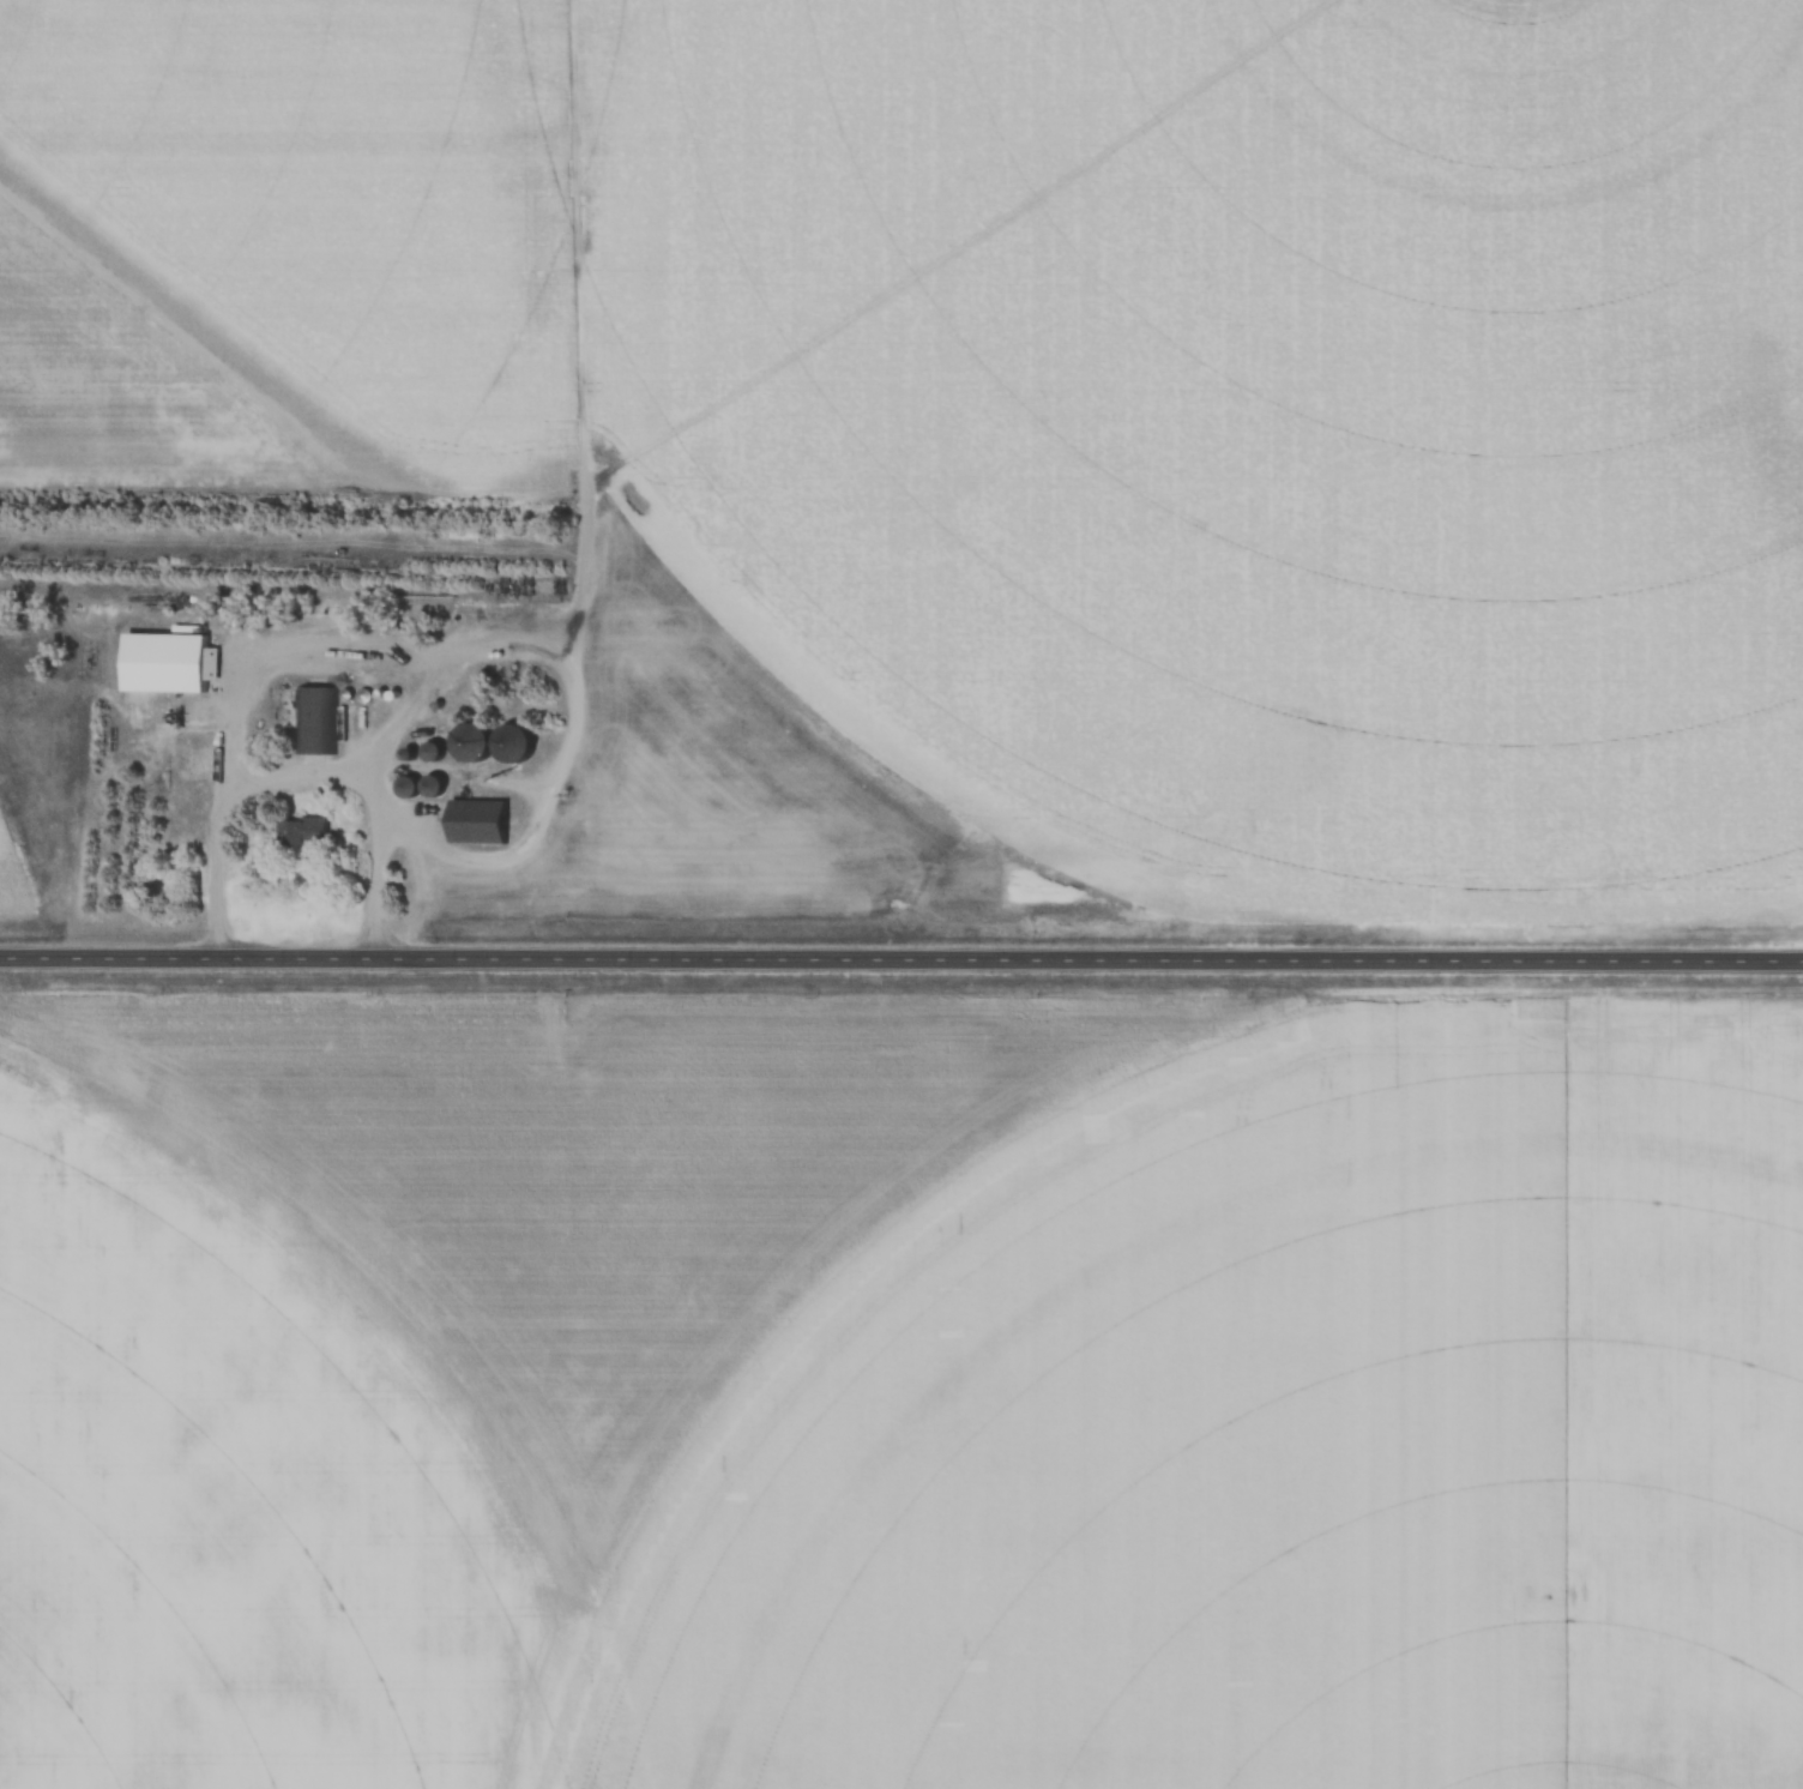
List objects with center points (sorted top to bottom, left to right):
building: (385, 693)
silo: (385, 693)
building: (398, 693)
silo: (398, 693)
building: (351, 694)
silo: (351, 694)
building: (369, 694)
silo: (369, 694)
building: (314, 721)
building: (477, 741)
silo: (477, 741)
building: (517, 742)
silo: (517, 742)
building: (438, 751)
silo: (438, 751)
building: (412, 754)
silo: (412, 754)
building: (199, 763)
building: (412, 785)
silo: (412, 785)
building: (438, 787)
silo: (438, 787)
road: (369, 820)
building: (306, 831)
road: (900, 960)

